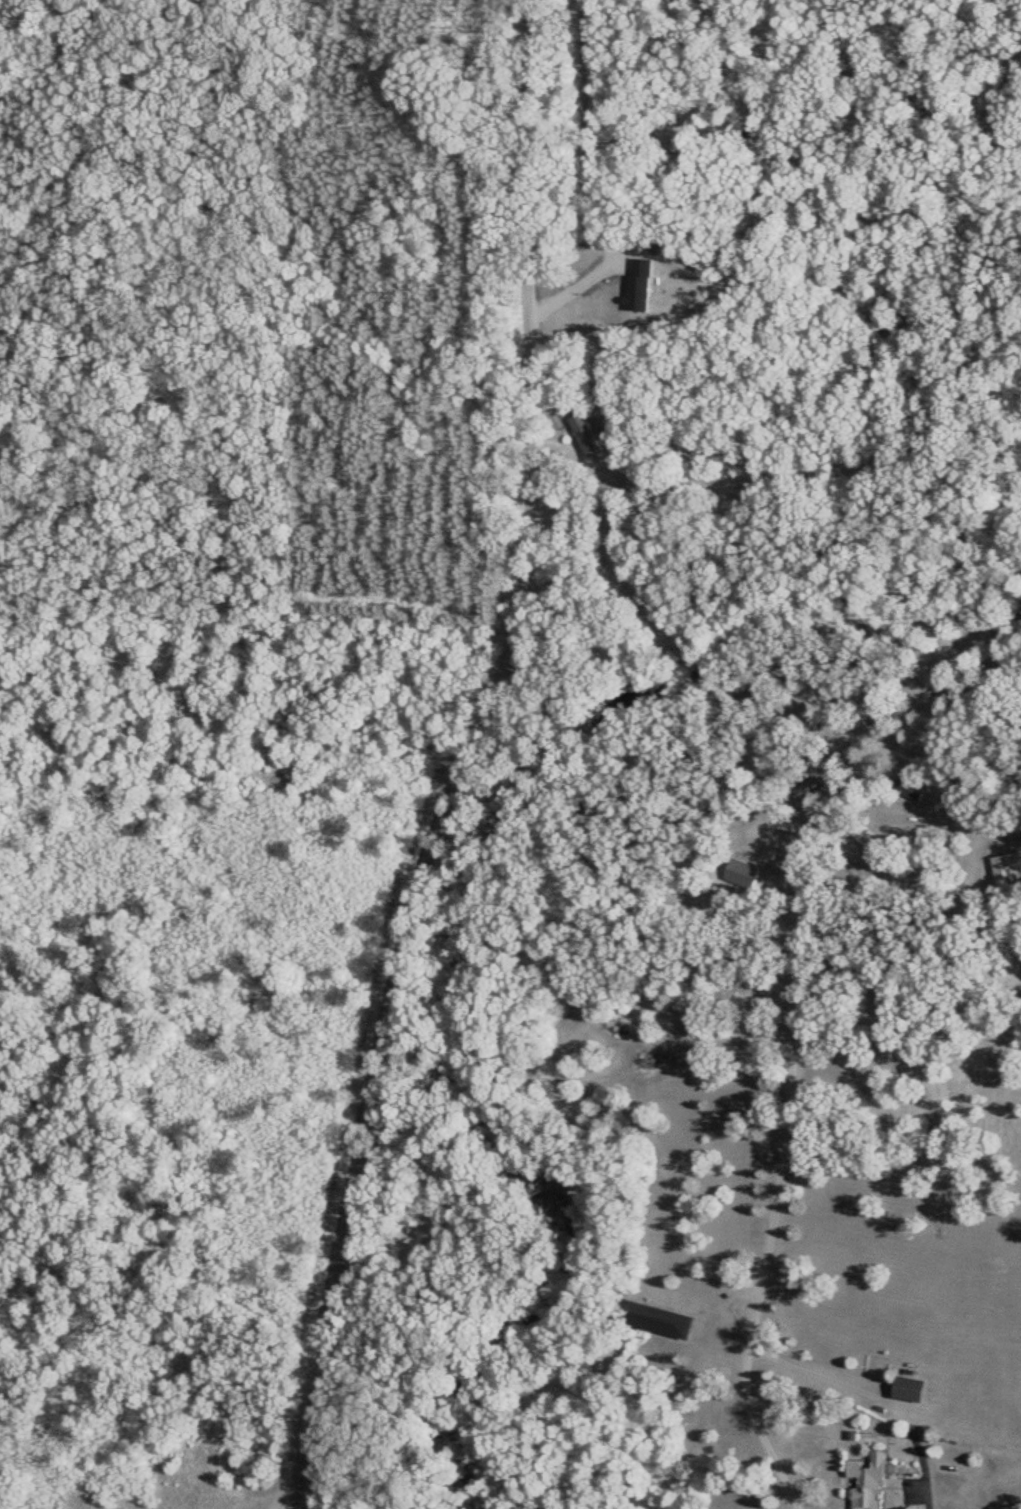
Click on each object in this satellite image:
road: (446, 757)
building: (1006, 869)
building: (908, 1390)
building: (864, 1483)

